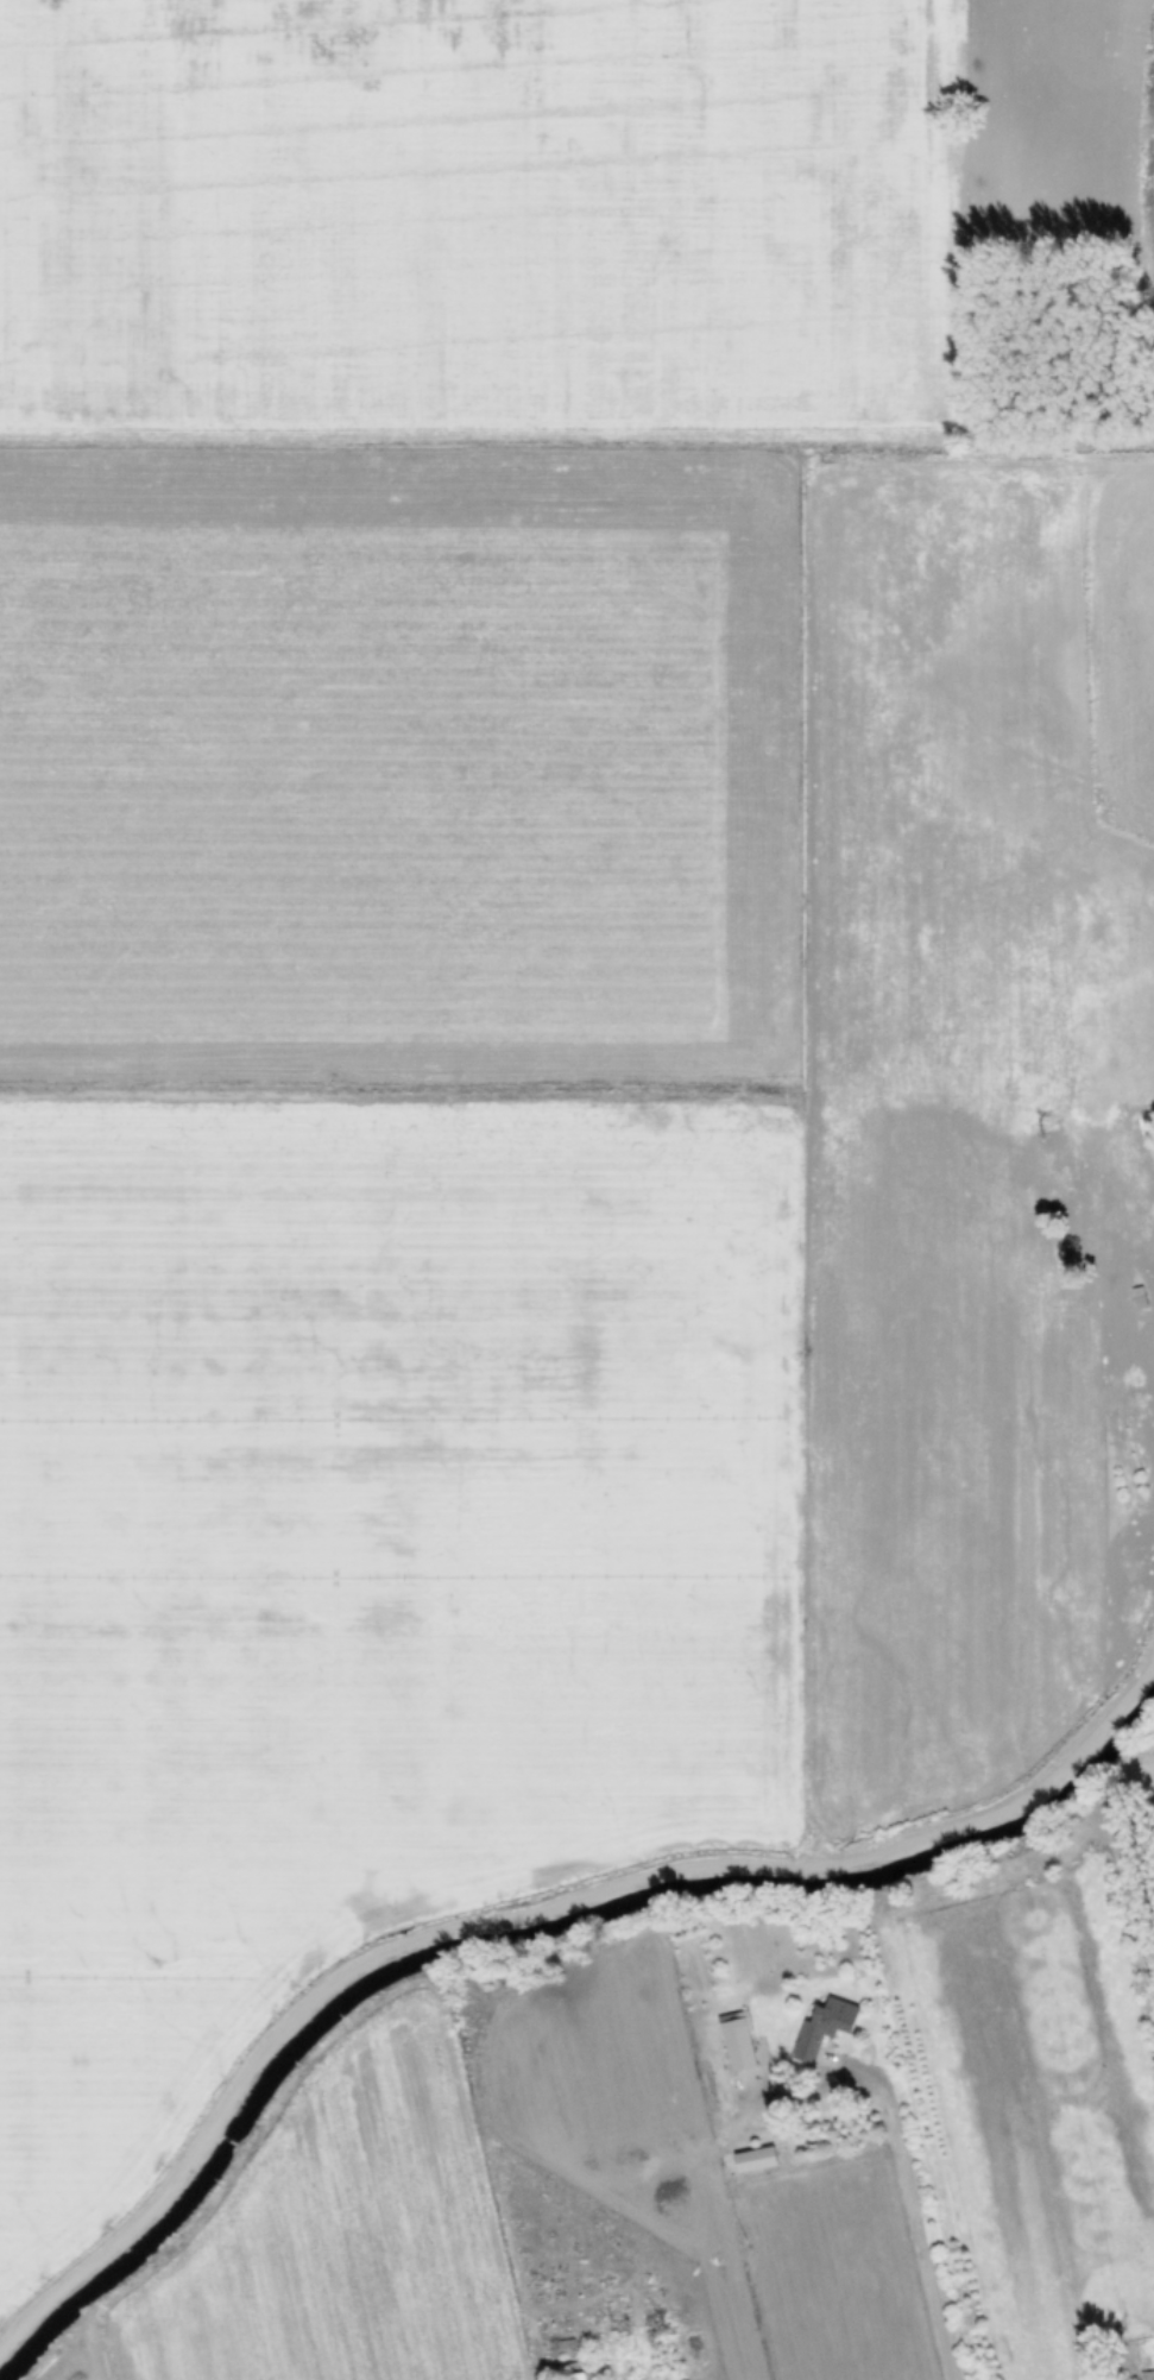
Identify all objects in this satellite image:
road: (405, 426)
road: (922, 733)
road: (436, 1069)
road: (529, 1913)
building: (822, 2026)
building: (738, 2041)
building: (753, 2159)
road: (926, 2210)
building: (561, 2347)
building: (580, 2376)

